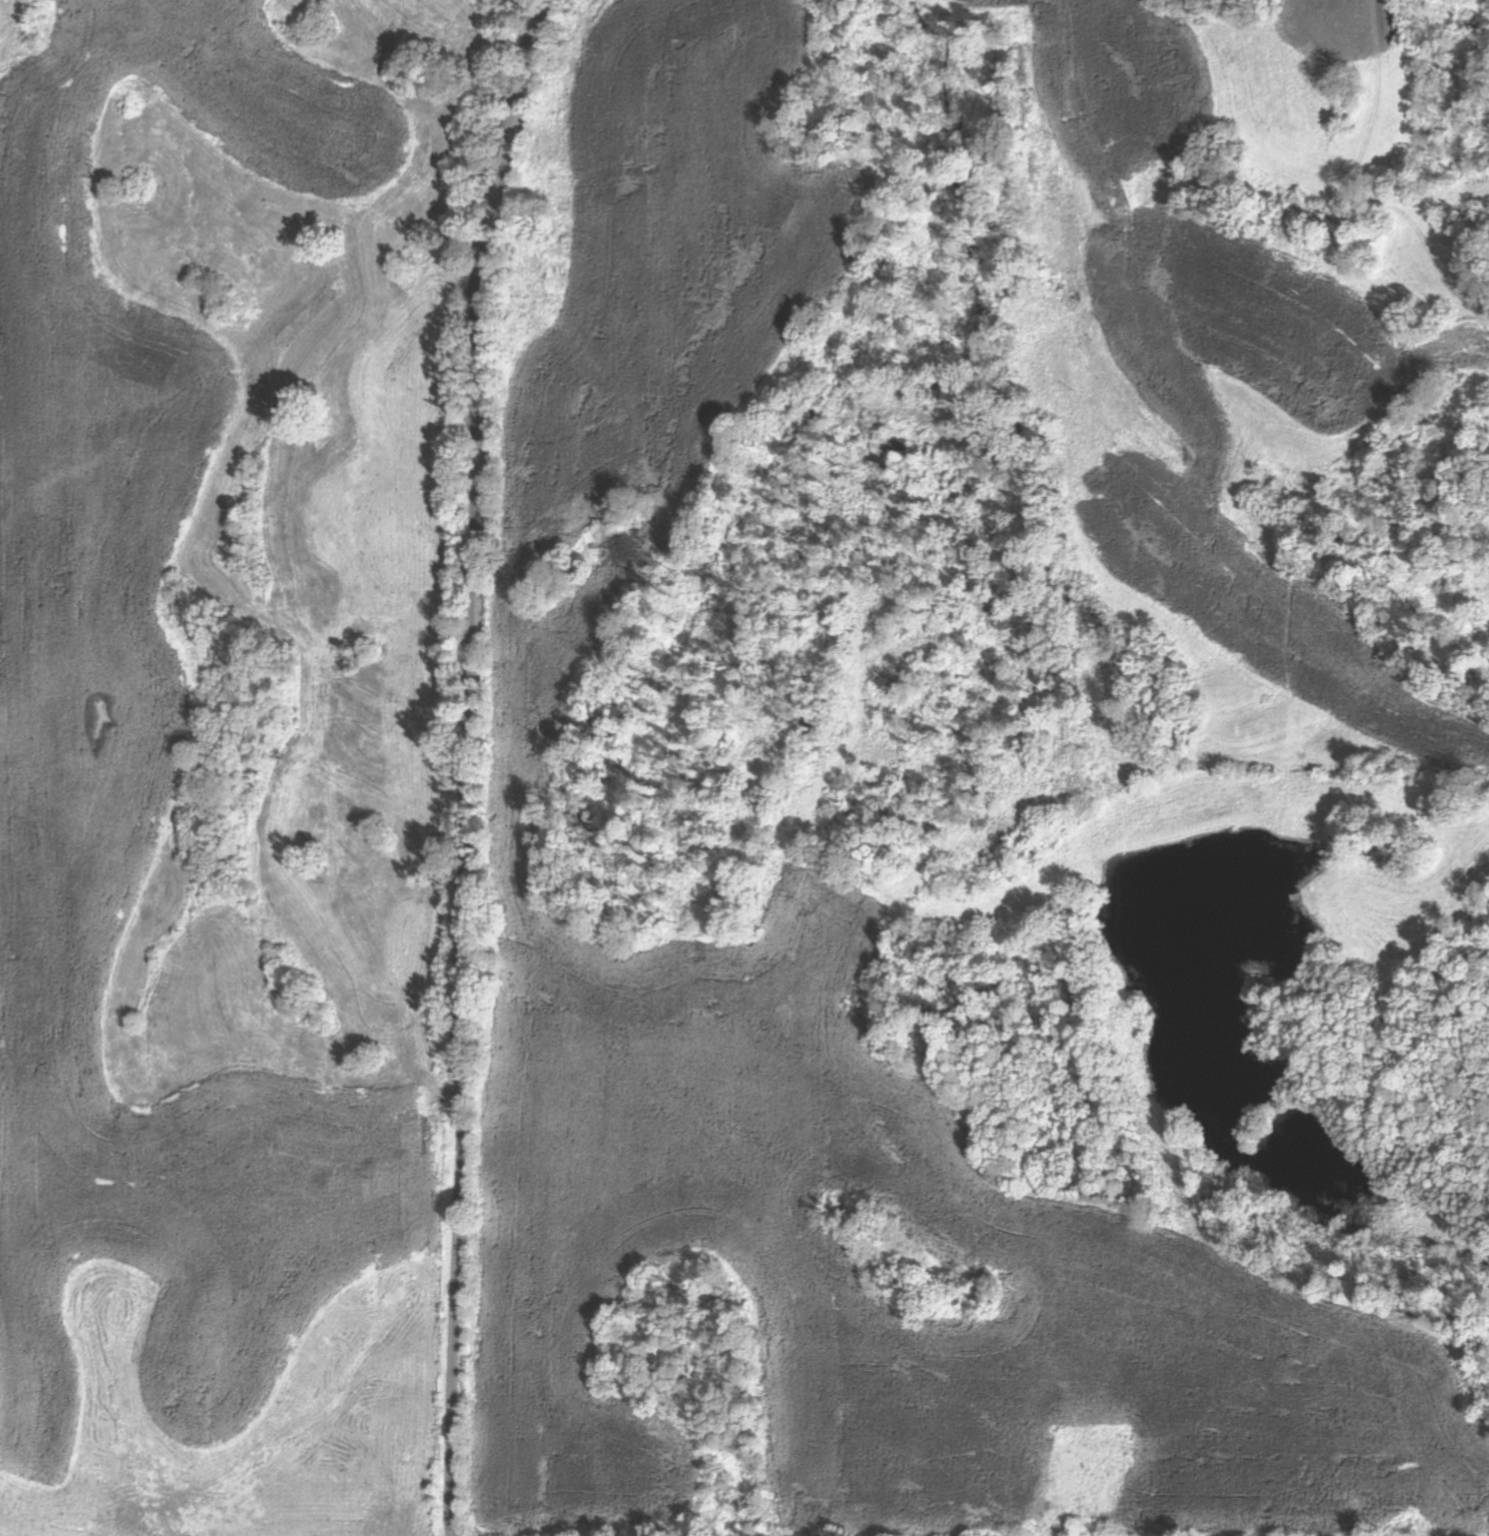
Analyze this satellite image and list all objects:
road: (468, 765)

